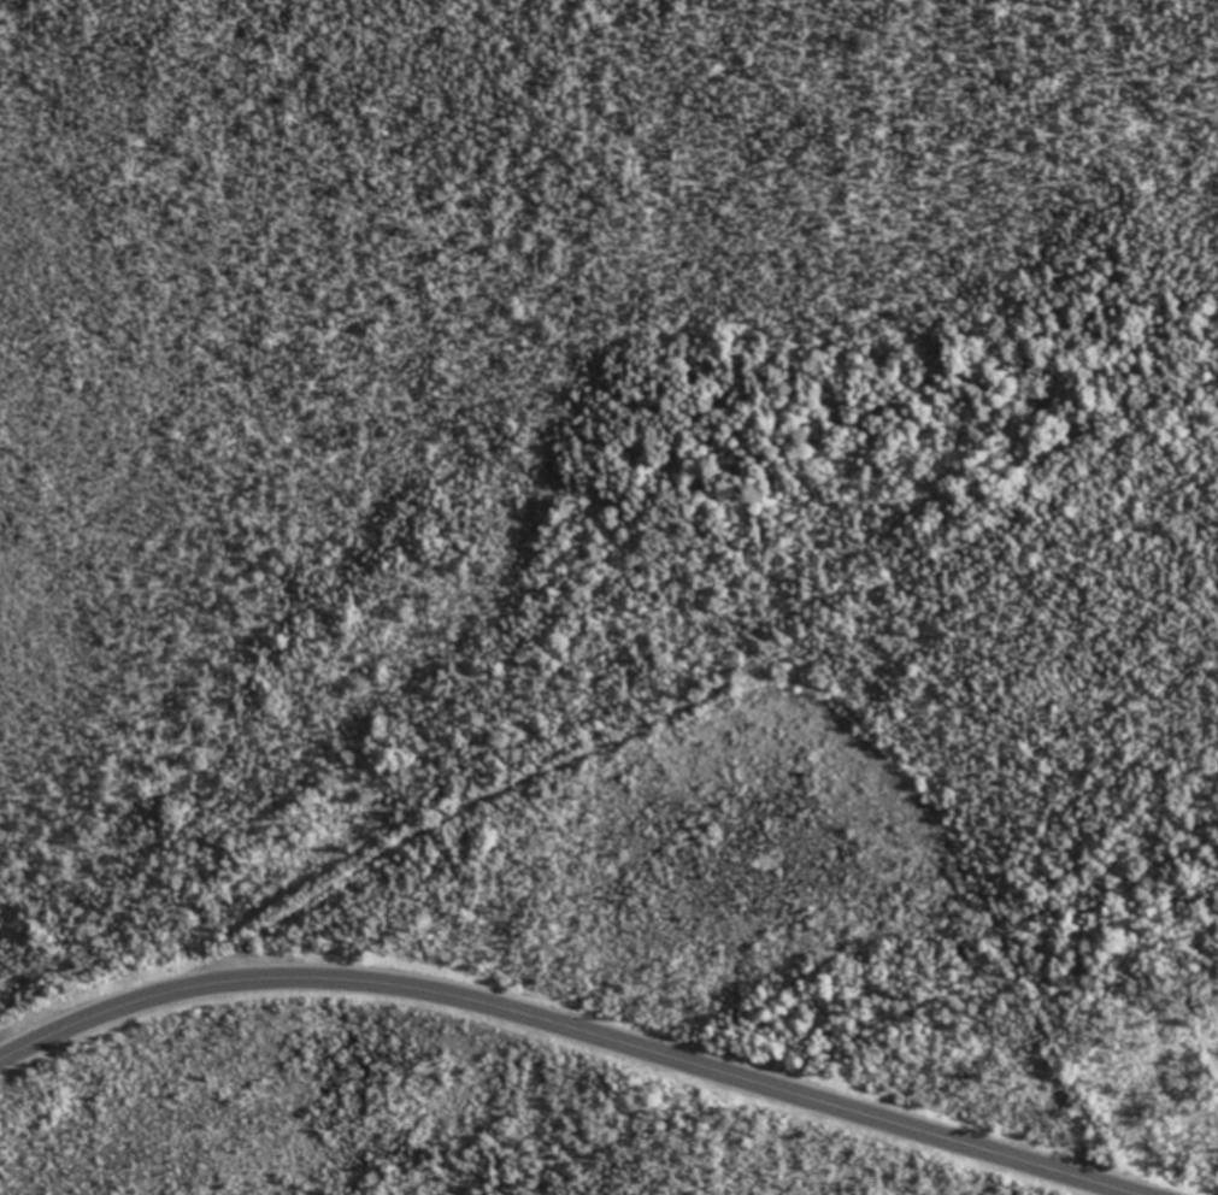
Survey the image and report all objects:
road: (795, 660)
road: (565, 1032)

